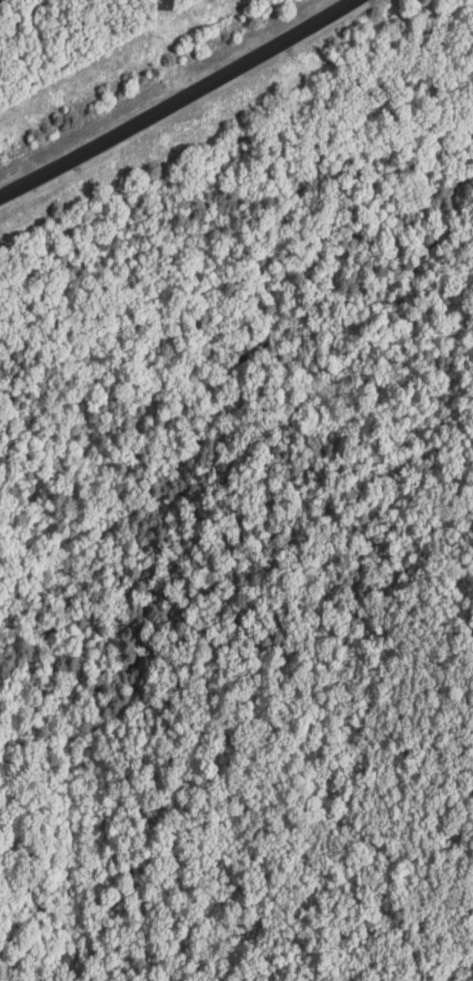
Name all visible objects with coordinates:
road: (171, 97)

